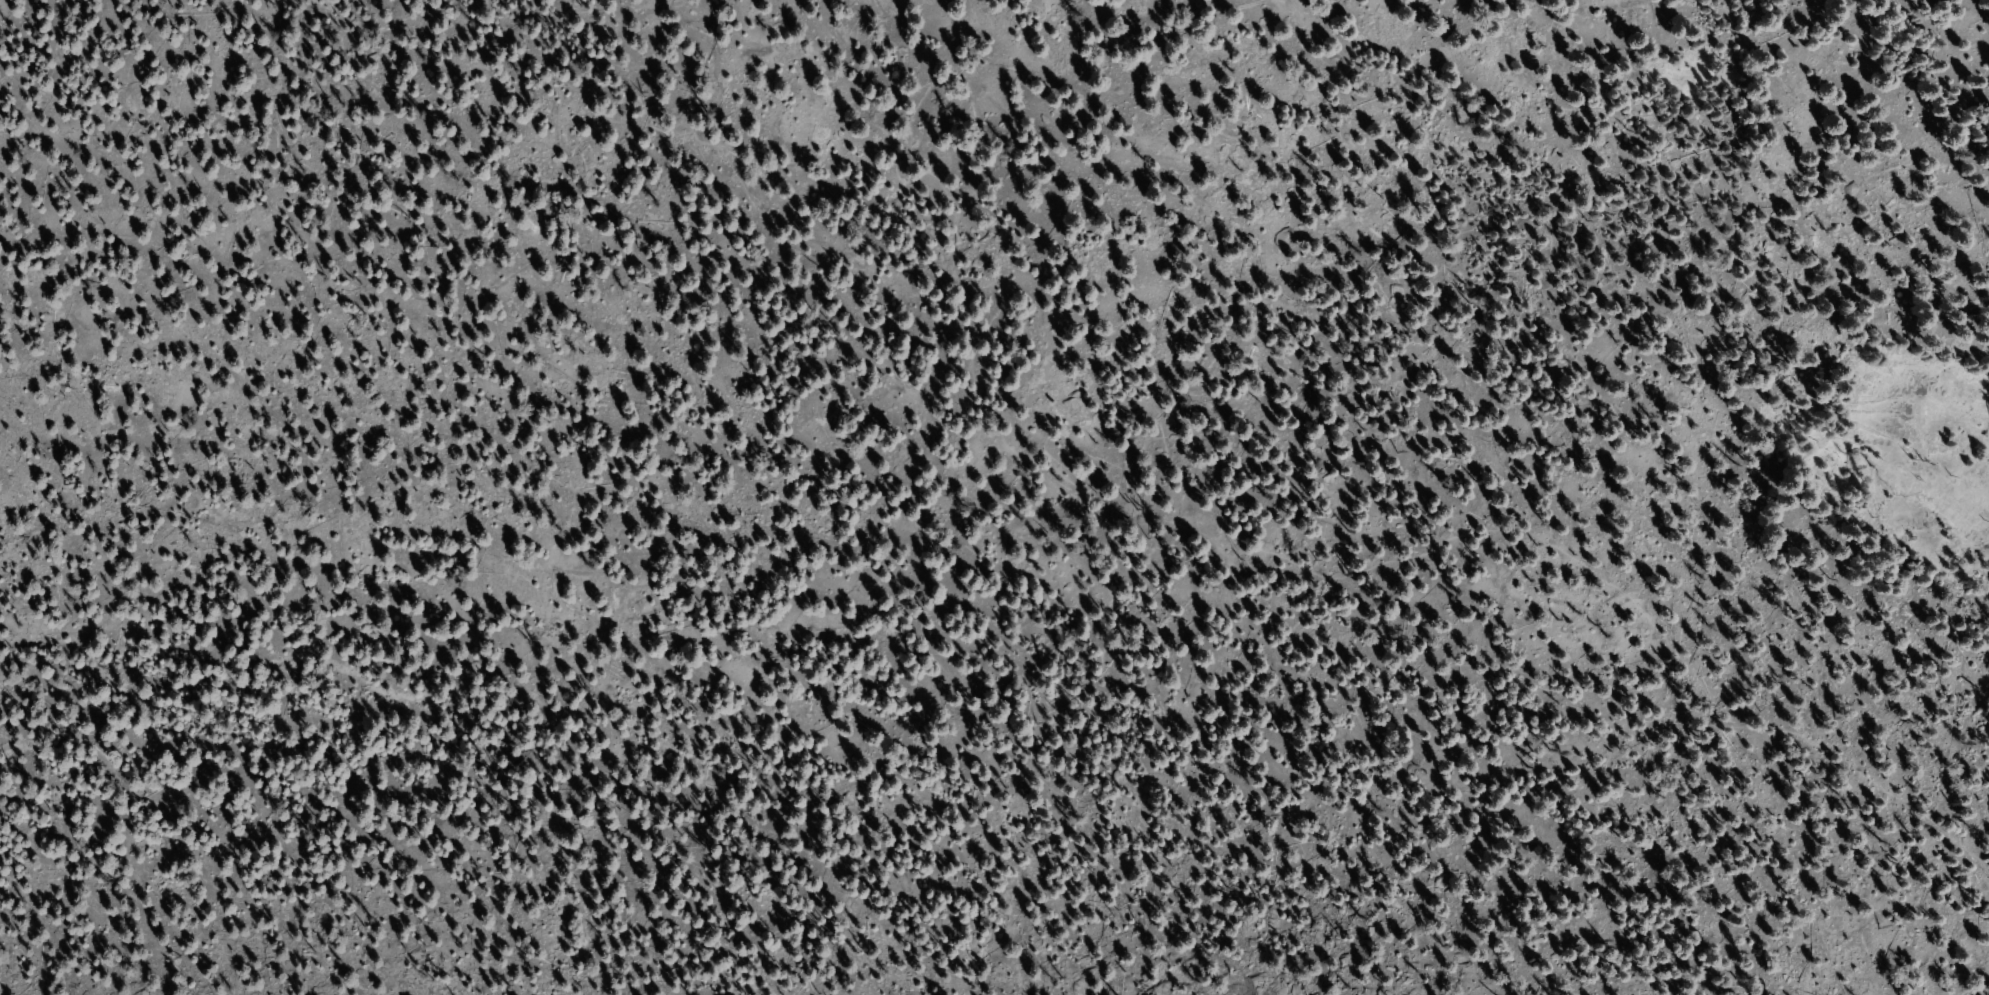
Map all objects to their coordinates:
road: (1045, 462)

